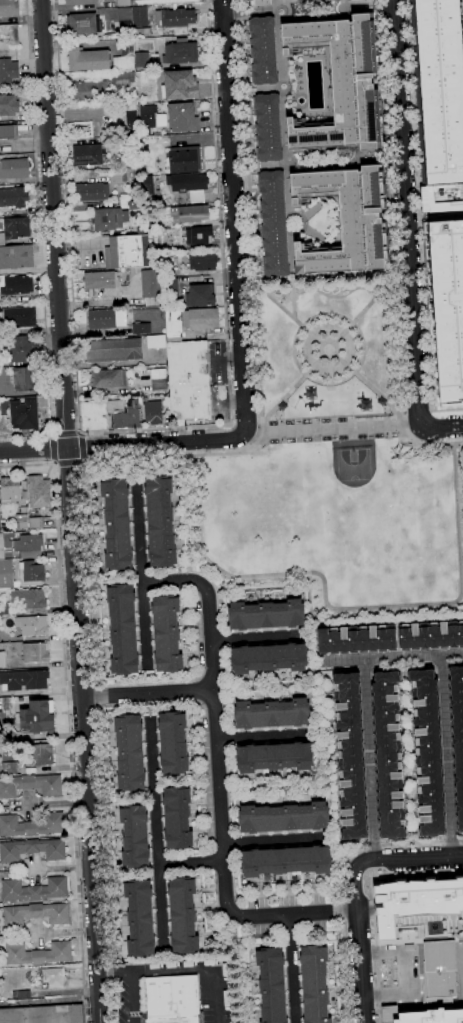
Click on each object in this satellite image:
building: (79, 2)
building: (159, 2)
building: (260, 2)
building: (124, 3)
building: (9, 8)
building: (140, 16)
building: (174, 17)
building: (124, 19)
building: (80, 23)
building: (142, 32)
building: (9, 33)
building: (263, 50)
building: (180, 52)
building: (124, 56)
building: (88, 59)
building: (141, 61)
building: (8, 70)
building: (122, 77)
building: (340, 82)
building: (179, 84)
building: (441, 89)
building: (88, 90)
building: (8, 105)
building: (147, 117)
building: (181, 117)
building: (129, 122)
building: (268, 127)
building: (8, 132)
road: (387, 138)
road: (245, 142)
building: (86, 154)
building: (183, 160)
building: (13, 168)
building: (186, 181)
building: (147, 187)
building: (92, 192)
building: (195, 196)
building: (13, 198)
building: (133, 205)
building: (191, 213)
road: (407, 213)
building: (109, 218)
road: (234, 218)
road: (418, 220)
building: (345, 222)
building: (153, 223)
road: (53, 224)
building: (274, 224)
building: (14, 229)
building: (199, 236)
building: (155, 239)
road: (40, 242)
building: (126, 251)
building: (16, 257)
road: (291, 258)
building: (203, 262)
building: (169, 269)
building: (98, 279)
building: (150, 283)
building: (15, 286)
building: (172, 287)
building: (200, 295)
road: (335, 297)
road: (293, 298)
building: (448, 305)
building: (19, 317)
building: (100, 318)
building: (200, 318)
building: (173, 325)
road: (352, 326)
building: (141, 329)
building: (156, 342)
road: (399, 344)
road: (328, 348)
road: (329, 348)
building: (113, 350)
building: (21, 351)
road: (258, 353)
building: (107, 378)
building: (25, 379)
building: (158, 380)
building: (188, 380)
building: (151, 410)
road: (430, 410)
road: (416, 411)
road: (404, 413)
building: (24, 414)
building: (109, 415)
road: (403, 420)
road: (258, 422)
road: (243, 423)
road: (232, 424)
road: (150, 428)
road: (262, 428)
road: (443, 428)
road: (342, 429)
road: (78, 433)
road: (52, 435)
road: (53, 436)
road: (458, 442)
road: (424, 443)
road: (155, 444)
road: (33, 451)
road: (233, 453)
road: (83, 460)
park: (353, 461)
road: (53, 462)
park: (333, 465)
building: (10, 490)
building: (39, 492)
building: (21, 521)
building: (160, 522)
building: (35, 523)
building: (117, 524)
building: (6, 545)
building: (28, 546)
building: (6, 574)
building: (30, 574)
road: (140, 575)
road: (209, 577)
building: (23, 601)
road: (338, 607)
building: (266, 615)
road: (312, 620)
building: (32, 625)
building: (122, 629)
building: (166, 634)
building: (431, 635)
road: (257, 638)
building: (357, 639)
building: (35, 652)
building: (268, 658)
road: (393, 658)
building: (2, 659)
building: (24, 680)
road: (97, 685)
road: (148, 694)
building: (36, 698)
building: (271, 714)
road: (67, 717)
building: (37, 718)
road: (84, 735)
building: (458, 736)
road: (262, 737)
building: (173, 743)
building: (129, 753)
building: (429, 753)
building: (40, 754)
building: (388, 755)
building: (351, 756)
road: (447, 756)
building: (274, 757)
railway: (367, 757)
road: (369, 759)
building: (7, 767)
road: (219, 781)
building: (31, 785)
building: (177, 818)
building: (283, 818)
building: (32, 825)
road: (157, 833)
building: (134, 836)
road: (274, 840)
building: (32, 850)
building: (285, 861)
road: (191, 862)
road: (340, 879)
building: (33, 890)
road: (355, 890)
building: (415, 902)
building: (35, 914)
building: (182, 915)
building: (139, 918)
building: (37, 954)
road: (292, 969)
road: (196, 970)
road: (114, 971)
building: (54, 977)
building: (314, 984)
building: (271, 985)
road: (412, 990)
building: (21, 994)
road: (132, 997)
building: (172, 1000)
building: (43, 1015)
building: (420, 1016)

